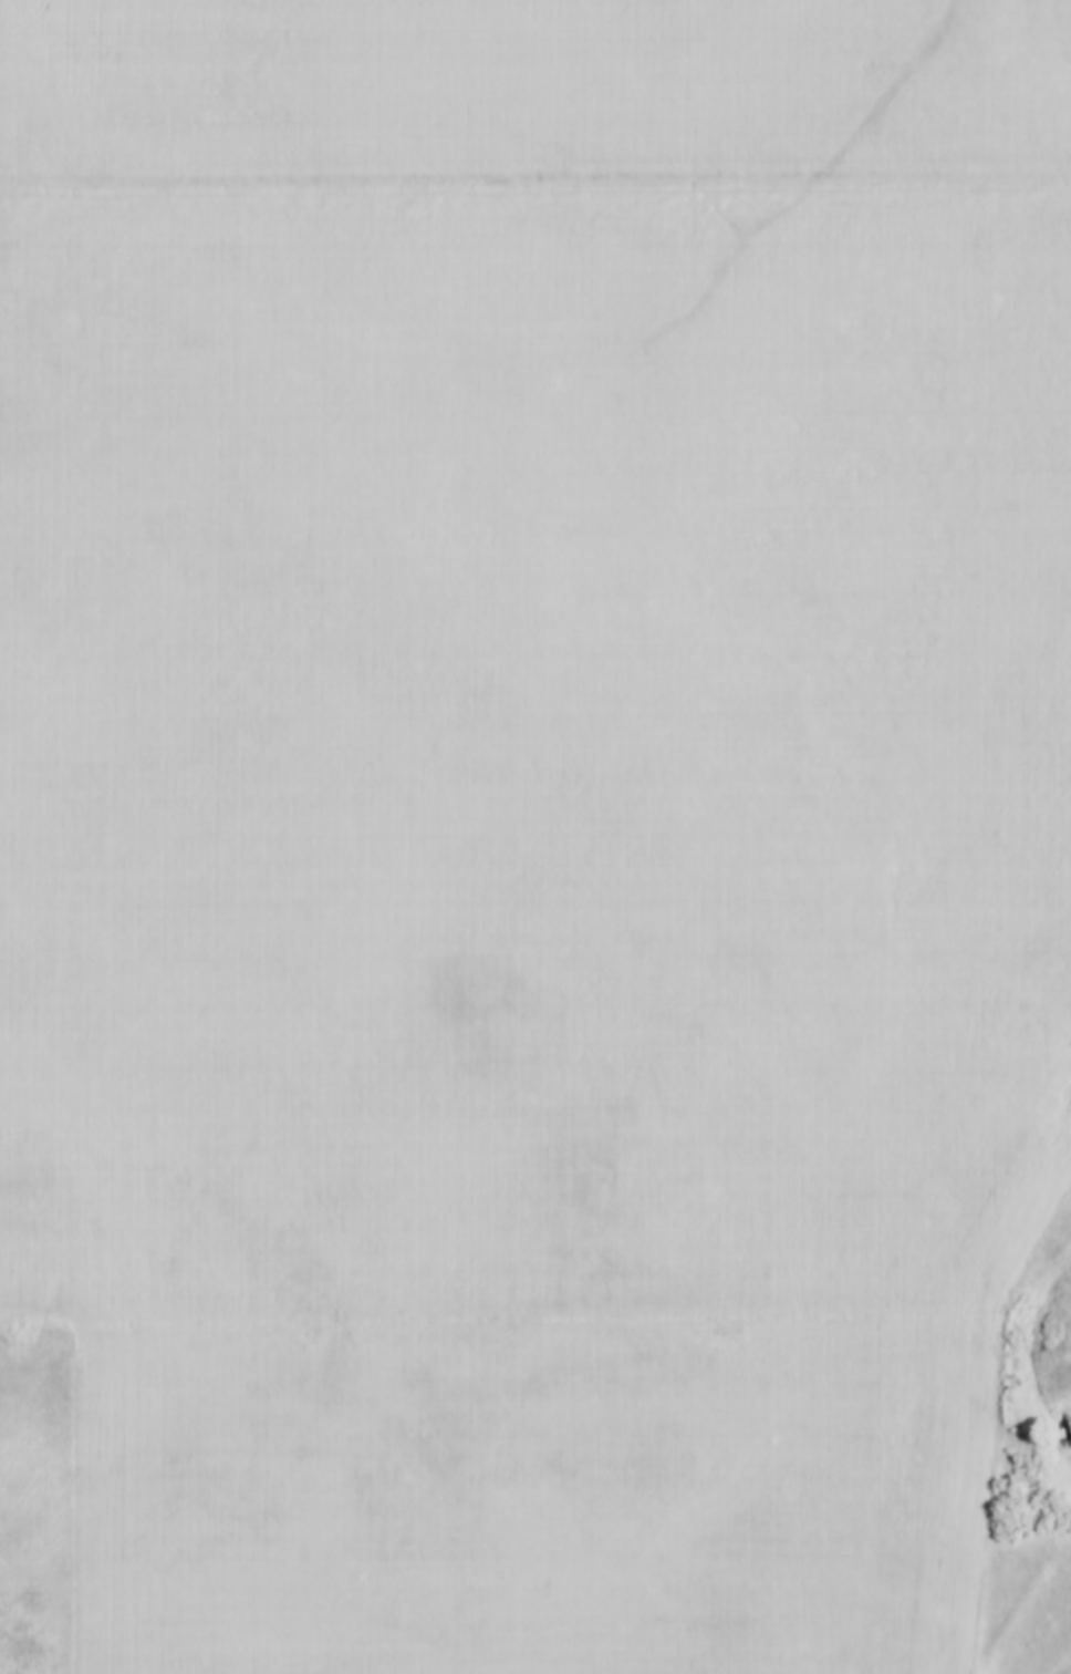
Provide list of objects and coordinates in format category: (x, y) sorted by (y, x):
road: (957, 1490)

